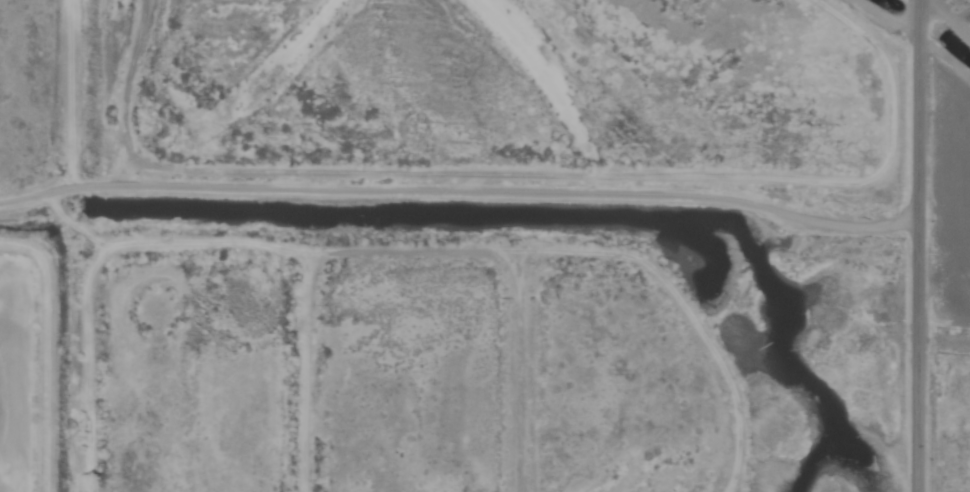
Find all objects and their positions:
crop: (941, 9)
road: (912, 246)

